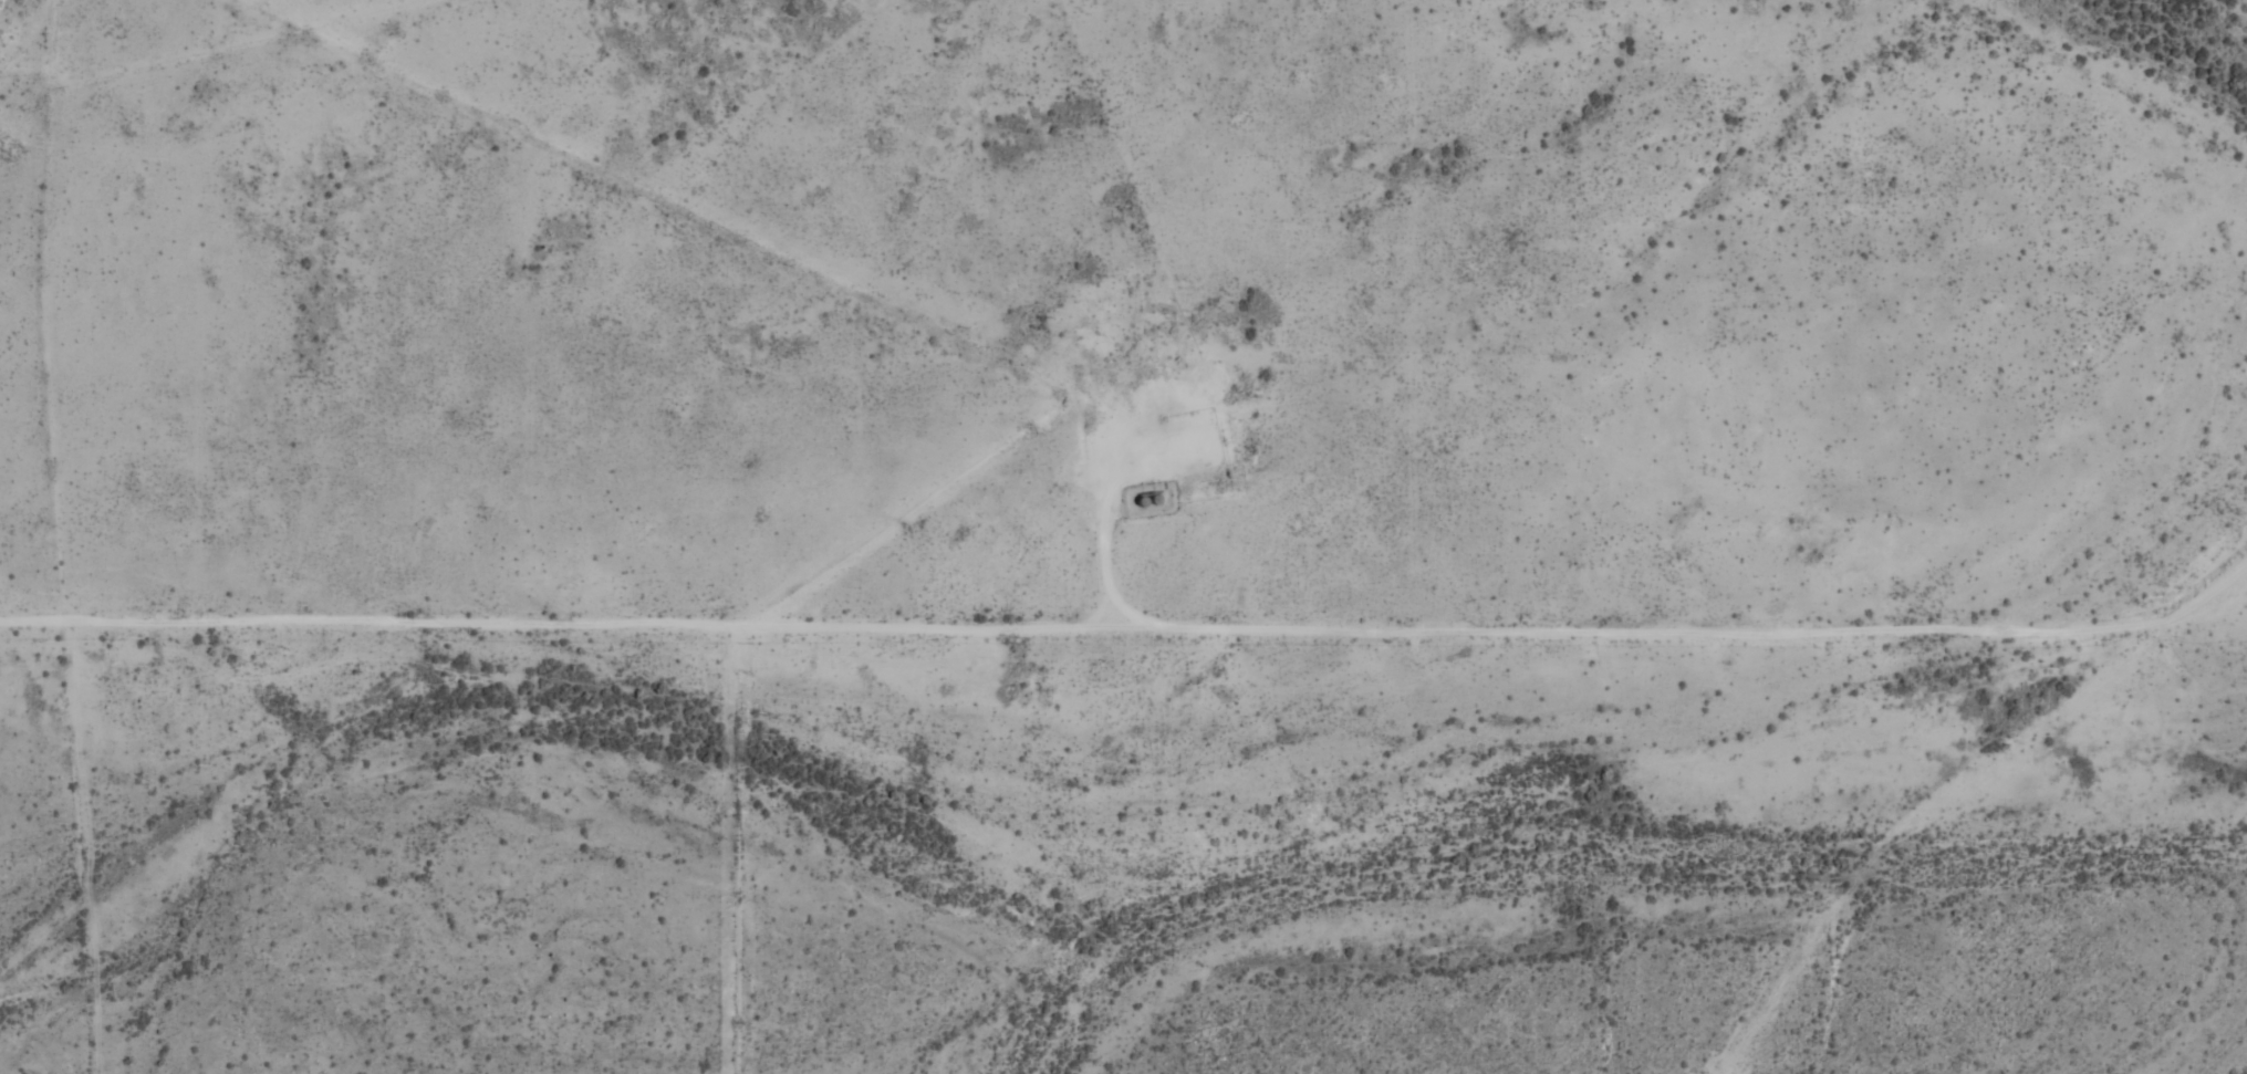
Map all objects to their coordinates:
road: (1106, 518)
road: (1132, 626)
road: (1920, 812)
park: (1479, 843)

